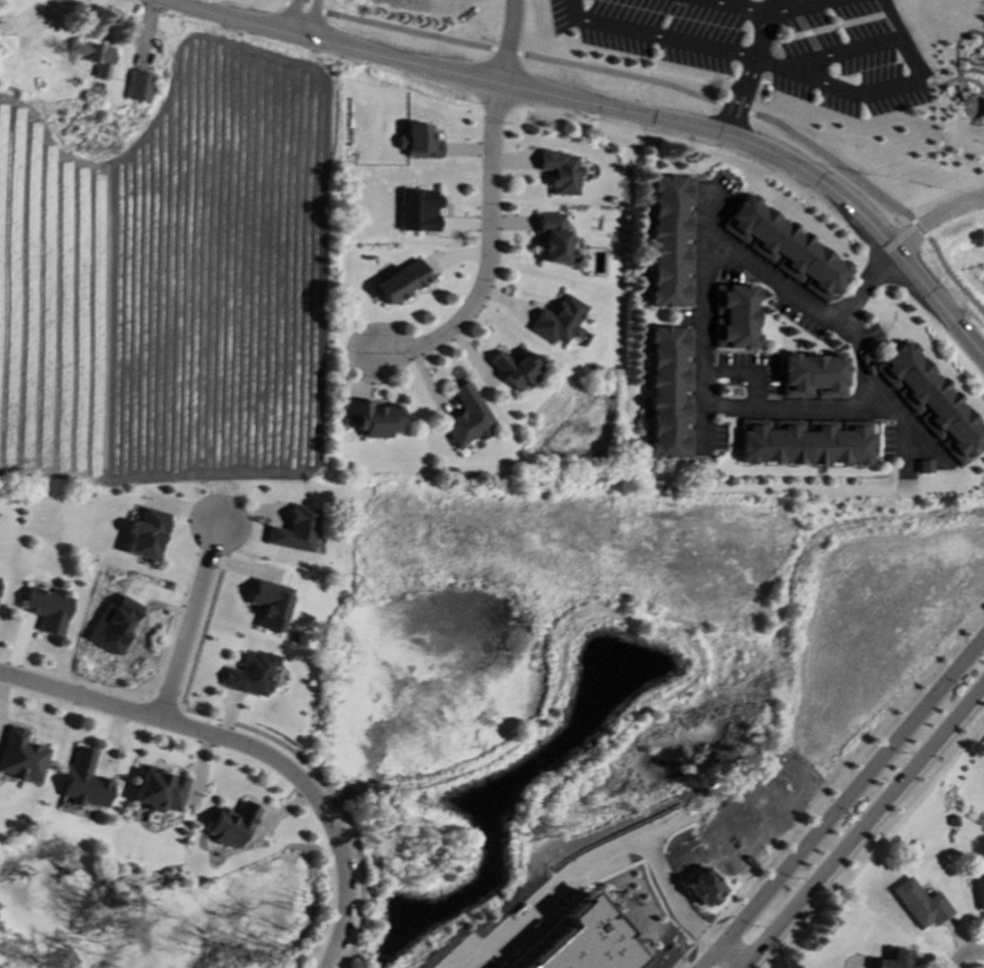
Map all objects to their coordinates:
road: (723, 4)
road: (803, 6)
road: (577, 9)
road: (753, 12)
road: (292, 16)
road: (313, 18)
road: (668, 39)
road: (505, 42)
building: (97, 58)
road: (803, 66)
road: (770, 67)
road: (753, 68)
road: (631, 76)
building: (139, 86)
road: (912, 86)
road: (611, 110)
building: (418, 142)
building: (560, 172)
building: (418, 211)
road: (936, 220)
road: (921, 229)
building: (553, 237)
building: (672, 242)
building: (786, 247)
road: (486, 254)
road: (952, 277)
crop: (170, 280)
building: (401, 282)
road: (864, 283)
road: (796, 291)
road: (701, 311)
building: (737, 317)
building: (559, 320)
building: (516, 369)
building: (814, 376)
building: (670, 393)
building: (931, 402)
road: (794, 407)
building: (466, 417)
building: (372, 419)
road: (906, 420)
building: (804, 441)
building: (924, 467)
building: (295, 530)
building: (146, 534)
building: (270, 604)
building: (48, 609)
road: (188, 621)
building: (114, 625)
building: (251, 674)
road: (170, 713)
road: (261, 733)
road: (248, 749)
building: (21, 757)
building: (85, 781)
road: (829, 788)
building: (159, 790)
road: (841, 802)
road: (864, 825)
building: (231, 826)
road: (875, 841)
road: (601, 865)
building: (704, 888)
building: (979, 889)
building: (921, 904)
building: (581, 942)
road: (731, 955)
road: (967, 955)
building: (896, 960)

